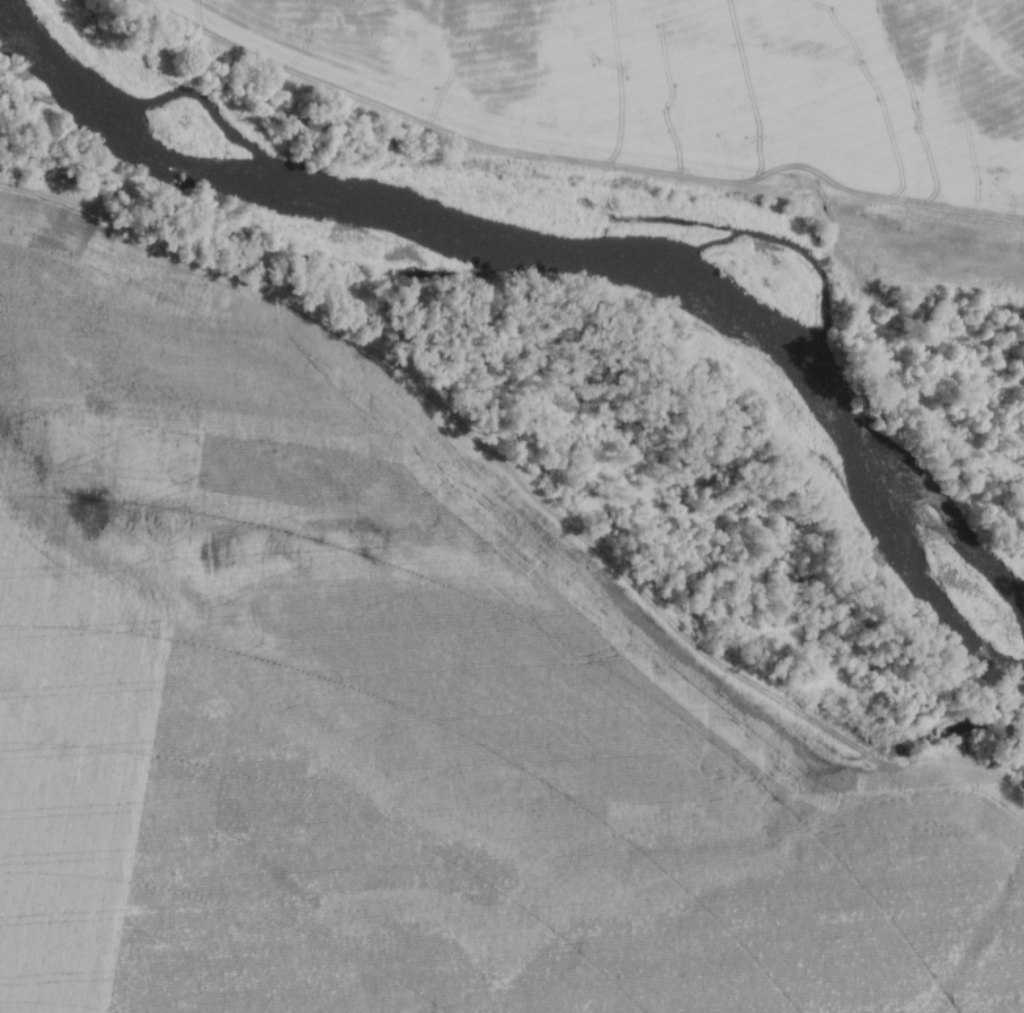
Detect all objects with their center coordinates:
river: (587, 259)

